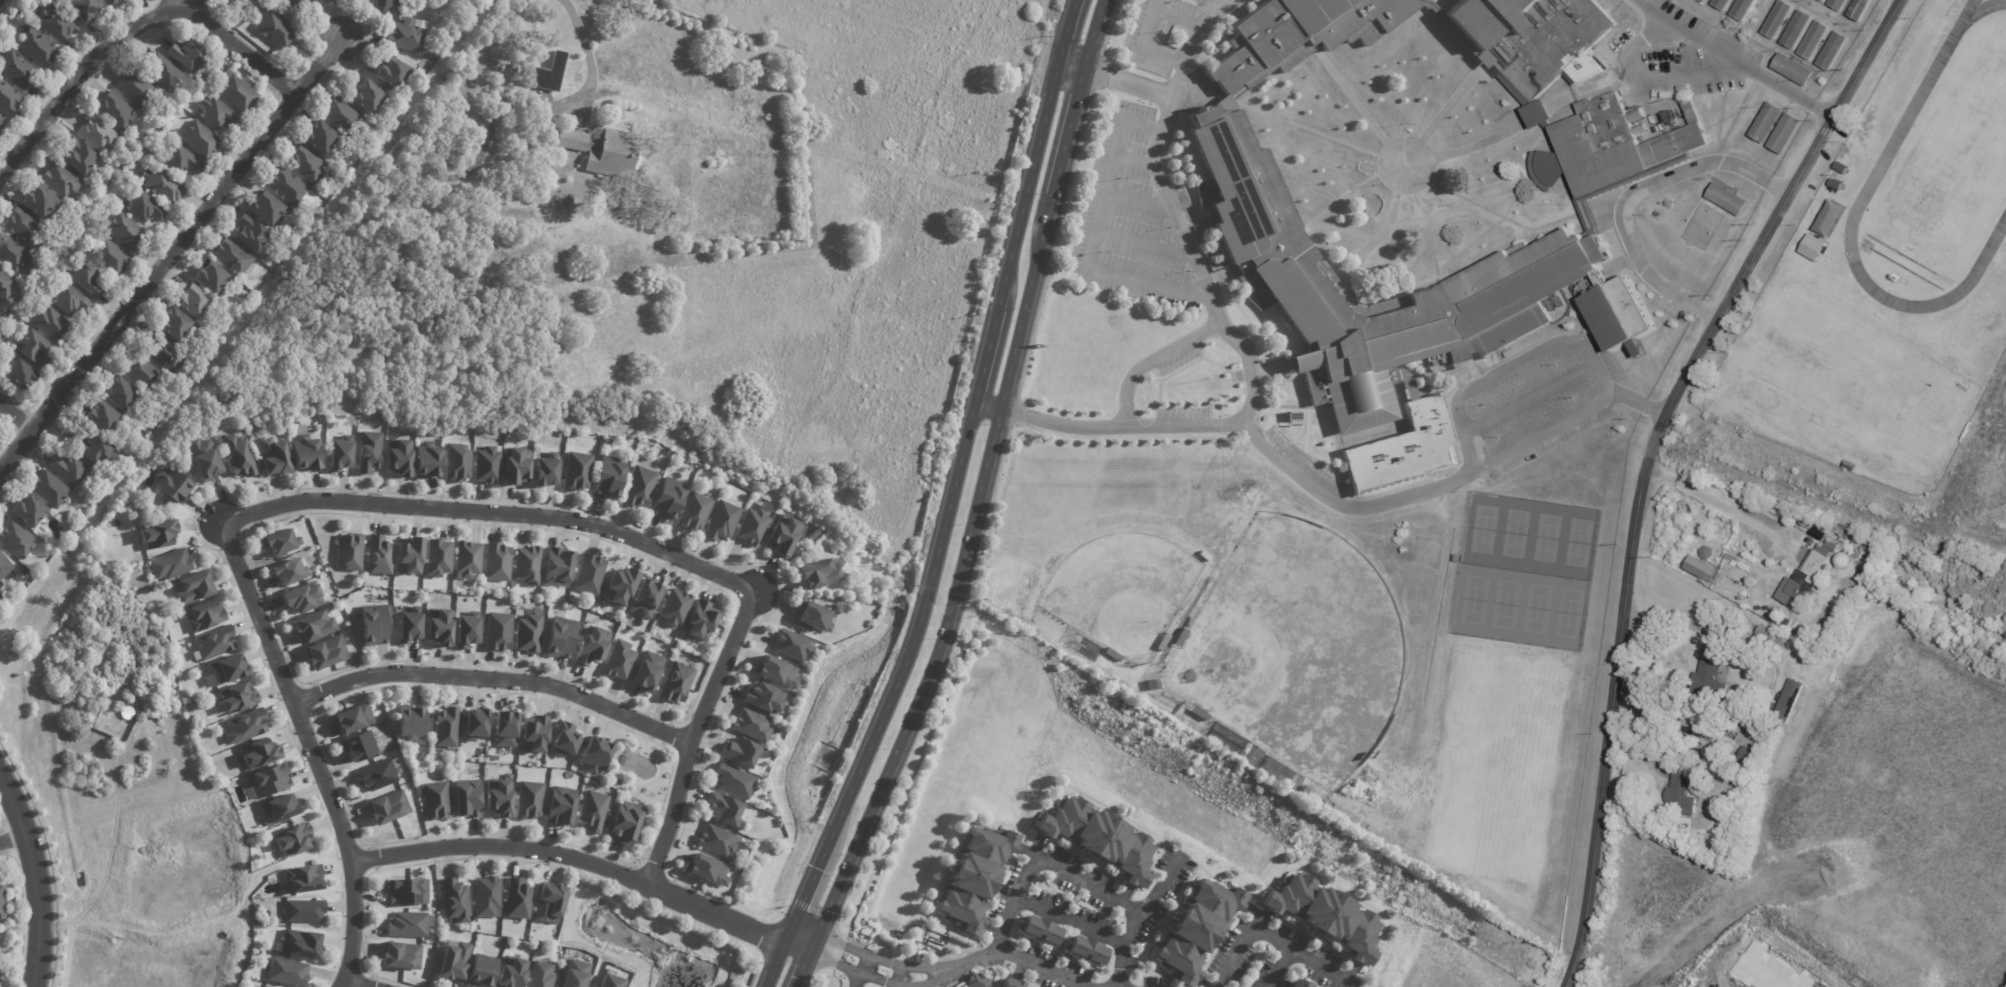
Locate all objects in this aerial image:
building: (247, 0)
building: (1705, 1)
road: (1786, 1)
building: (1823, 1)
building: (107, 2)
building: (295, 2)
road: (1220, 2)
building: (380, 4)
building: (1723, 4)
building: (1839, 4)
building: (81, 9)
building: (1744, 9)
building: (1860, 10)
road: (1807, 14)
road: (1174, 17)
building: (1779, 20)
road: (1760, 21)
building: (54, 23)
building: (275, 29)
road: (132, 30)
building: (1797, 31)
road: (1066, 32)
parking lot: (1160, 33)
road: (1091, 34)
building: (1296, 34)
building: (408, 35)
building: (1534, 37)
building: (1815, 41)
building: (36, 47)
road: (1138, 47)
road: (586, 48)
road: (1762, 51)
building: (1833, 52)
building: (184, 54)
road: (1723, 54)
building: (433, 55)
parking lot: (1681, 55)
building: (15, 69)
road: (1084, 69)
building: (162, 71)
building: (1789, 71)
building: (389, 72)
building: (545, 73)
building: (198, 78)
road: (1646, 78)
road: (1141, 87)
building: (133, 88)
building: (236, 91)
road: (1349, 93)
building: (367, 97)
road: (1453, 97)
building: (7, 98)
building: (112, 110)
road: (1822, 112)
building: (215, 113)
building: (337, 114)
road: (1278, 119)
track: (1904, 120)
building: (1, 121)
building: (1767, 123)
road: (1067, 131)
building: (93, 132)
road: (1503, 132)
building: (1786, 135)
building: (318, 138)
building: (199, 139)
building: (570, 139)
building: (1619, 144)
road: (1427, 149)
building: (614, 154)
building: (76, 155)
building: (180, 160)
road: (1131, 161)
building: (304, 164)
building: (1839, 169)
building: (60, 180)
building: (1834, 185)
building: (162, 186)
building: (286, 186)
road: (1025, 188)
road: (1631, 194)
building: (35, 200)
road: (1335, 201)
road: (1479, 201)
building: (1728, 201)
road: (1135, 202)
building: (143, 207)
building: (266, 208)
road: (1169, 211)
parking lot: (1127, 217)
road: (1522, 225)
building: (20, 226)
park: (1701, 227)
road: (1336, 229)
building: (125, 231)
building: (250, 233)
road: (1091, 234)
road: (1431, 235)
road: (1481, 236)
road: (1140, 241)
road: (1371, 244)
building: (1813, 247)
road: (169, 253)
building: (12, 255)
building: (232, 256)
building: (109, 257)
building: (1537, 269)
building: (208, 277)
building: (3, 278)
building: (86, 278)
building: (190, 299)
building: (69, 300)
road: (1025, 303)
building: (171, 322)
building: (48, 323)
building: (30, 348)
building: (163, 355)
road: (981, 359)
road: (1148, 362)
road: (1509, 369)
building: (15, 372)
building: (138, 372)
building: (116, 393)
road: (1627, 399)
road: (1528, 400)
parking lot: (1530, 409)
road: (1654, 411)
road: (999, 412)
parking lot: (1179, 413)
road: (16, 416)
building: (99, 417)
road: (1182, 426)
road: (1076, 428)
road: (1543, 435)
building: (605, 440)
building: (90, 446)
building: (1401, 449)
building: (368, 451)
building: (337, 452)
building: (306, 454)
road: (987, 454)
building: (239, 455)
building: (274, 456)
building: (399, 456)
building: (204, 458)
building: (428, 460)
building: (456, 462)
building: (488, 464)
parking lot: (1302, 464)
road: (1648, 464)
building: (514, 465)
road: (1285, 466)
building: (68, 468)
building: (576, 471)
building: (545, 472)
building: (608, 477)
building: (171, 483)
building: (640, 487)
building: (48, 489)
building: (668, 499)
road: (1405, 499)
road: (1715, 504)
building: (27, 512)
building: (694, 512)
road: (497, 514)
building: (721, 521)
building: (751, 526)
building: (156, 534)
building: (782, 536)
building: (15, 539)
building: (281, 544)
building: (349, 552)
building: (378, 555)
building: (409, 557)
building: (437, 558)
building: (466, 559)
building: (1458, 559)
building: (496, 562)
building: (169, 565)
building: (526, 565)
building: (4, 566)
building: (558, 567)
building: (1701, 569)
building: (288, 572)
building: (819, 573)
park: (1525, 573)
building: (588, 575)
building: (1807, 578)
building: (619, 586)
building: (15, 587)
building: (195, 589)
park: (1122, 592)
building: (1835, 592)
building: (301, 597)
building: (0, 598)
building: (644, 599)
building: (674, 607)
building: (835, 609)
building: (205, 616)
building: (811, 618)
building: (700, 621)
building: (373, 625)
building: (312, 626)
building: (406, 626)
building: (439, 626)
building: (465, 631)
building: (497, 631)
road: (910, 631)
building: (527, 632)
building: (558, 637)
building: (1179, 637)
building: (1162, 642)
building: (214, 643)
building: (791, 645)
building: (590, 647)
park: (1292, 650)
building: (324, 652)
building: (752, 653)
building: (1111, 654)
building: (618, 660)
building: (225, 669)
building: (1706, 669)
building: (645, 672)
building: (775, 672)
building: (1806, 674)
road: (494, 679)
building: (675, 684)
building: (1151, 685)
building: (1723, 689)
building: (1792, 693)
building: (762, 698)
building: (237, 700)
building: (1198, 714)
building: (350, 719)
building: (410, 723)
building: (749, 724)
building: (474, 725)
road: (906, 726)
building: (245, 727)
building: (447, 728)
building: (505, 730)
building: (533, 734)
road: (691, 736)
building: (1764, 738)
building: (564, 740)
park: (1503, 742)
building: (1755, 745)
building: (358, 746)
road: (311, 750)
building: (739, 752)
building: (260, 754)
building: (595, 754)
building: (1748, 756)
building: (495, 758)
building: (374, 775)
building: (268, 780)
building: (733, 781)
building: (1743, 789)
building: (1682, 792)
building: (497, 798)
building: (465, 799)
building: (434, 800)
building: (528, 801)
building: (560, 806)
building: (279, 808)
building: (384, 808)
building: (592, 810)
building: (723, 810)
building: (625, 823)
building: (1098, 838)
building: (291, 839)
road: (14, 840)
building: (715, 841)
road: (574, 860)
road: (1044, 861)
building: (707, 870)
building: (972, 874)
road: (42, 878)
building: (302, 879)
building: (406, 893)
road: (802, 893)
building: (486, 897)
building: (517, 899)
building: (454, 900)
building: (4, 902)
building: (548, 903)
road: (810, 909)
building: (303, 912)
building: (1321, 916)
road: (1138, 917)
road: (1067, 921)
building: (406, 925)
building: (1194, 929)
building: (1039, 930)
road: (1257, 933)
road: (796, 943)
building: (300, 944)
building: (504, 947)
road: (816, 949)
building: (1085, 949)
building: (400, 957)
road: (884, 958)
road: (1021, 958)
building: (453, 963)
road: (775, 963)
road: (1313, 963)
road: (802, 966)
building: (480, 972)
building: (287, 973)
building: (509, 973)
building: (573, 974)
building: (540, 976)
road: (848, 977)
road: (884, 980)
building: (976, 981)
road: (362, 982)
building: (608, 982)
building: (1297, 983)
road: (897, 985)
building: (262, 986)
building: (265, 986)
building: (1011, 986)

